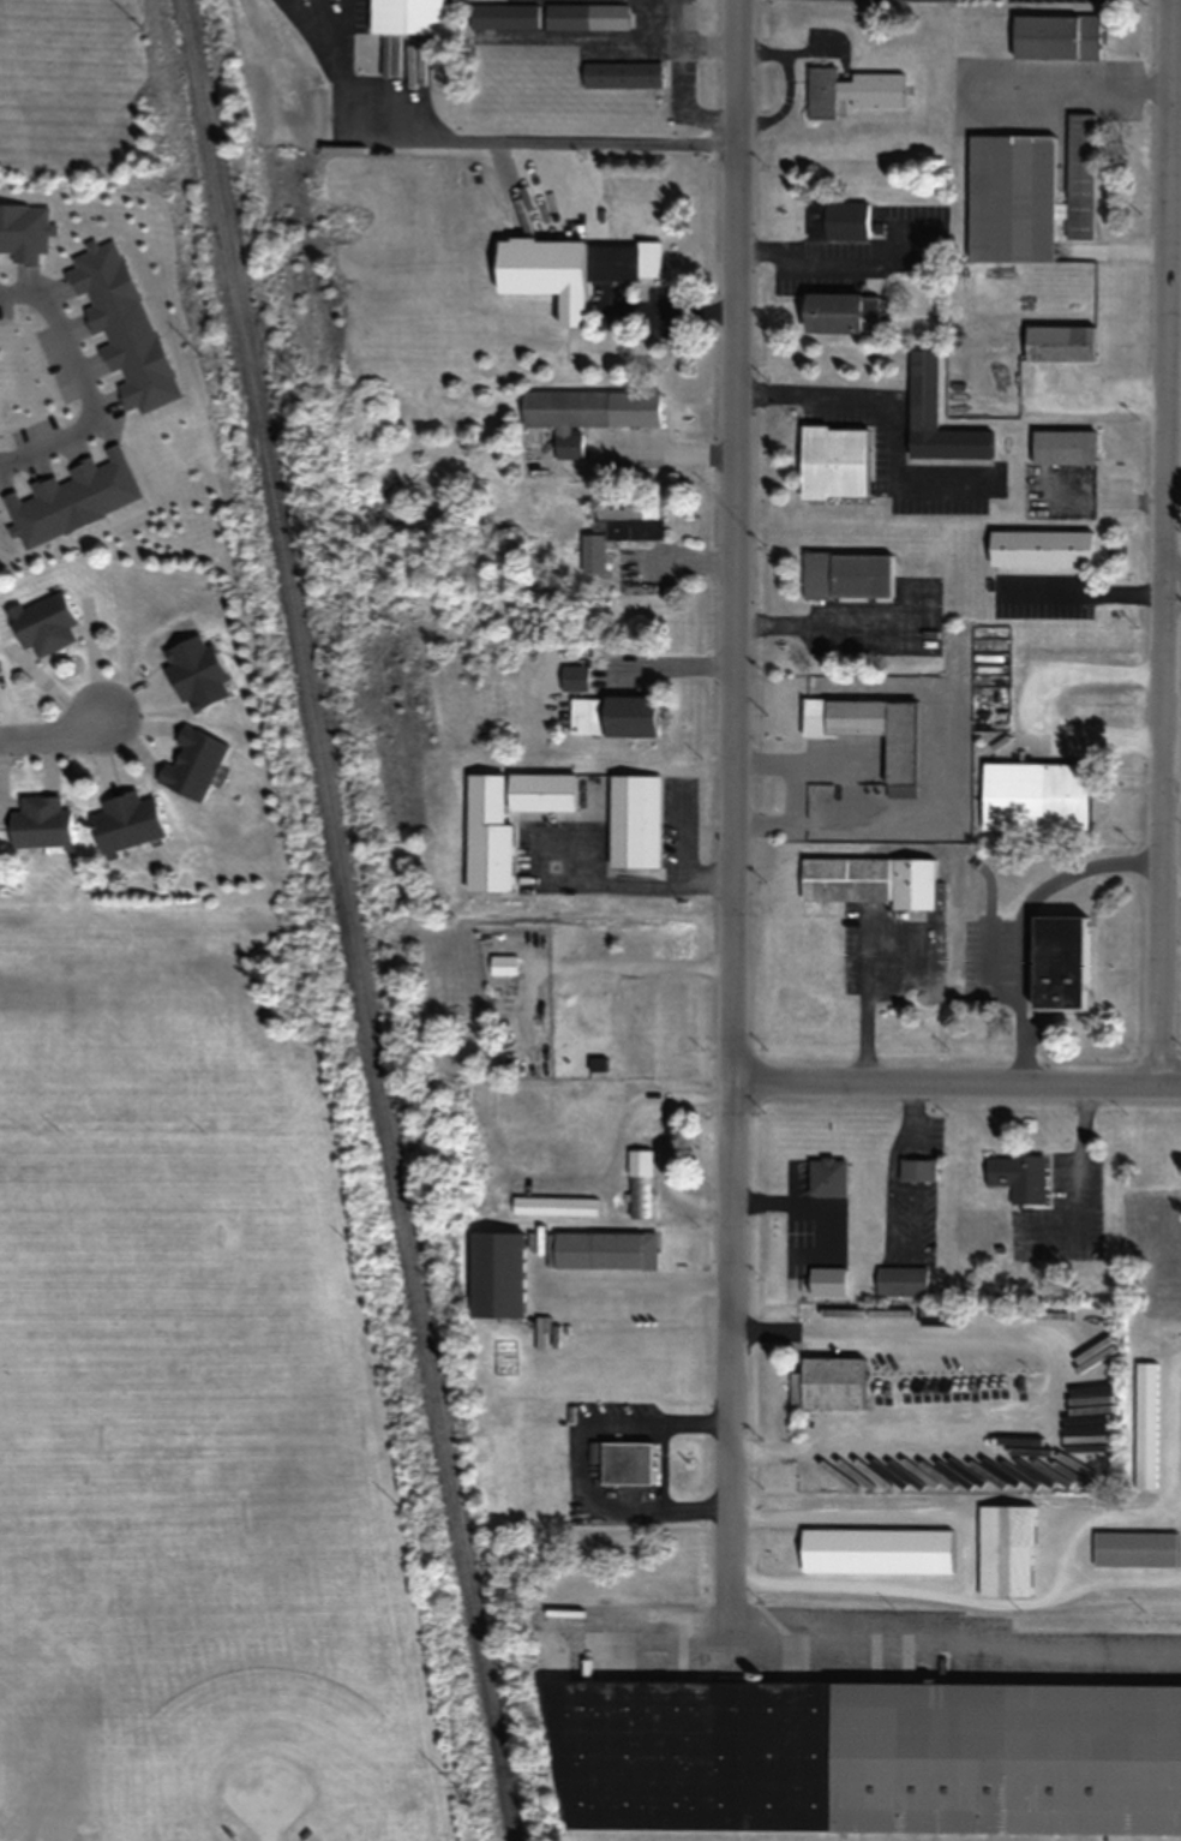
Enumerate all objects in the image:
building: (504, 14)
building: (587, 16)
building: (1055, 36)
building: (621, 73)
building: (851, 90)
building: (1026, 192)
building: (837, 219)
building: (622, 261)
road: (1165, 289)
building: (840, 311)
building: (1056, 347)
road: (88, 384)
building: (586, 413)
building: (935, 416)
building: (1062, 447)
building: (833, 461)
building: (618, 521)
building: (1039, 548)
building: (846, 574)
road: (1171, 580)
building: (41, 622)
building: (574, 677)
building: (611, 715)
building: (868, 729)
road: (54, 733)
road: (1170, 788)
building: (1033, 796)
road: (731, 818)
building: (125, 820)
building: (633, 820)
building: (38, 821)
road: (1159, 837)
building: (486, 857)
building: (869, 880)
road: (1170, 880)
railway: (347, 920)
building: (1059, 962)
building: (502, 964)
building: (597, 1063)
road: (955, 1092)
building: (916, 1168)
building: (827, 1176)
building: (1017, 1177)
building: (639, 1183)
building: (553, 1205)
park: (112, 1236)
building: (583, 1263)
building: (494, 1273)
building: (899, 1280)
building: (826, 1381)
park: (199, 1400)
building: (1144, 1424)
park: (232, 1437)
building: (624, 1460)
building: (1003, 1548)
building: (1133, 1548)
building: (873, 1549)
park: (264, 1744)
building: (865, 1755)

